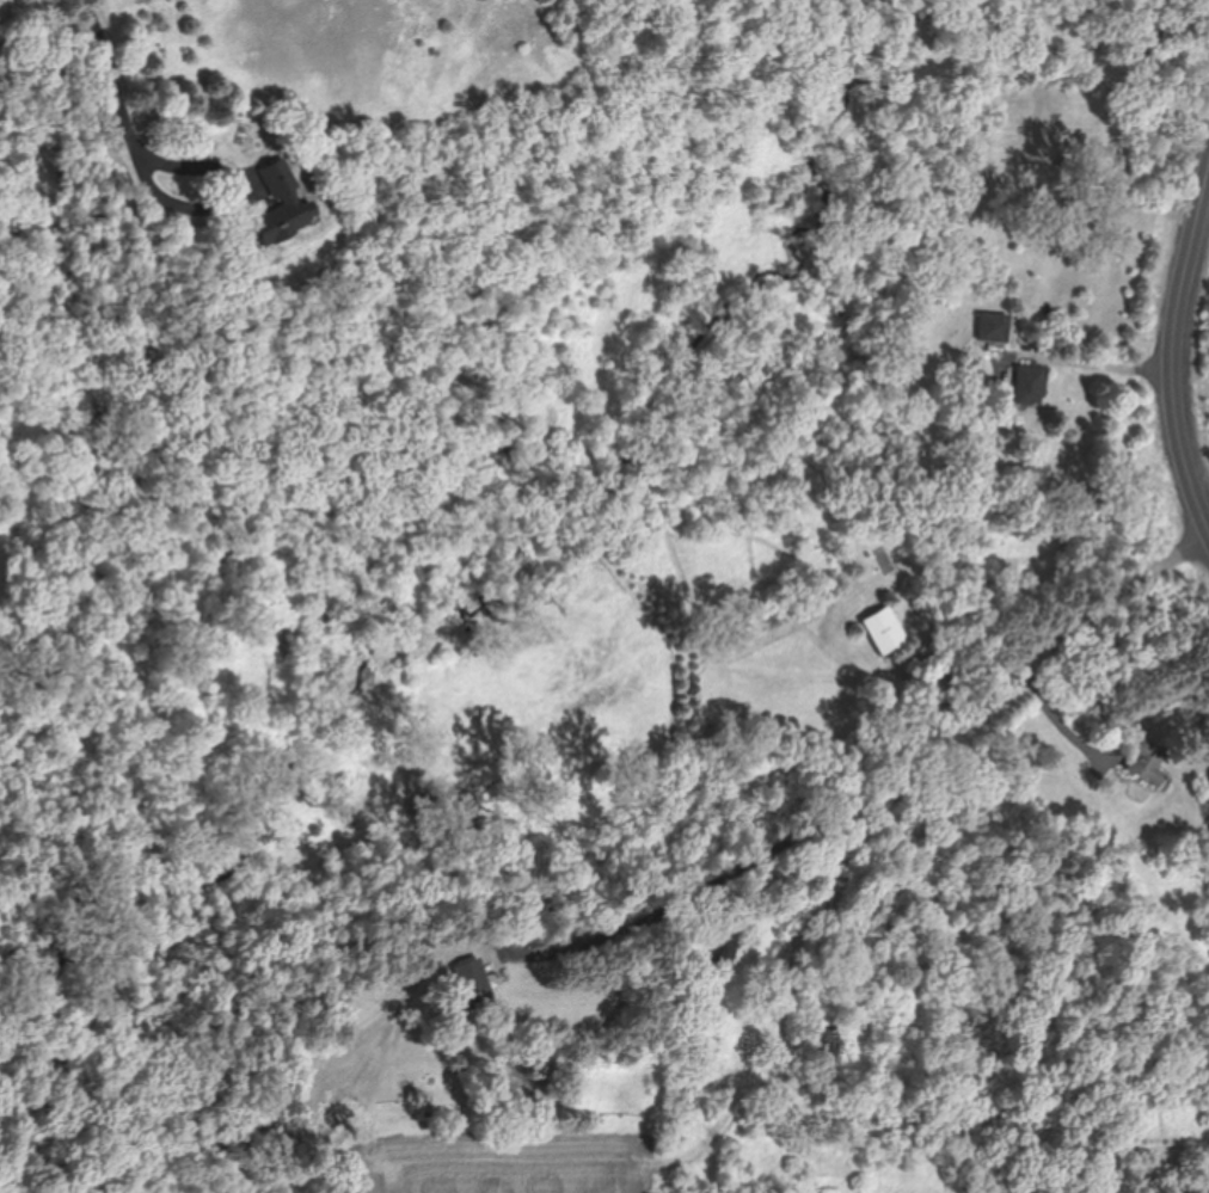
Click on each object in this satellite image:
road: (104, 99)
building: (280, 208)
road: (1173, 352)
road: (1086, 362)
park: (1195, 364)
building: (1032, 383)
building: (884, 628)
road: (943, 696)
road: (1061, 715)
building: (1147, 761)
building: (472, 977)
building: (822, 1039)
building: (787, 1126)

